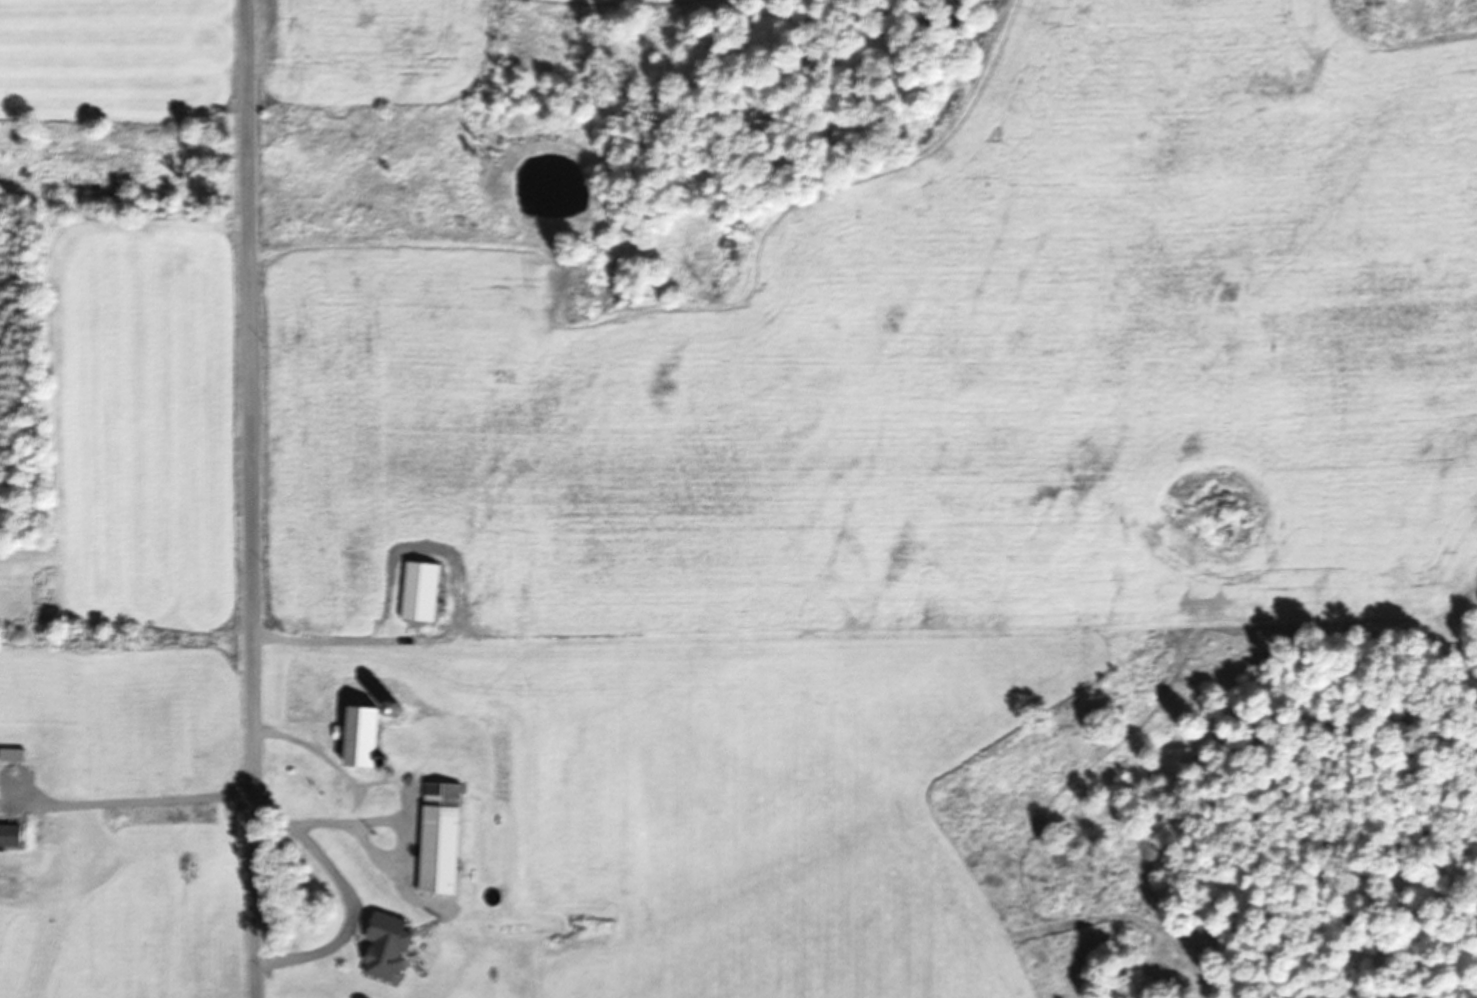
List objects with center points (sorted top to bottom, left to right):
crop: (922, 432)
road: (252, 499)
building: (424, 591)
building: (368, 735)
building: (445, 837)
building: (393, 945)

